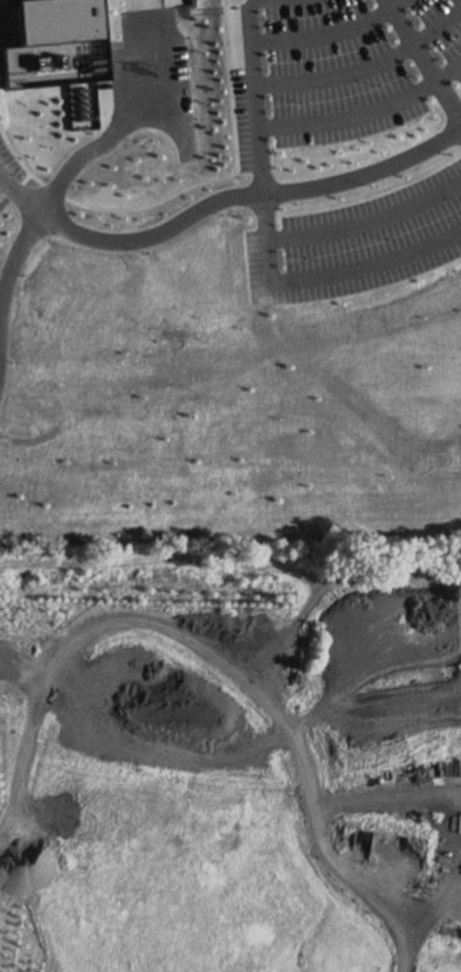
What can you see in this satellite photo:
building: (60, 51)
road: (419, 61)
road: (115, 128)
road: (17, 190)
road: (171, 224)
road: (263, 240)
road: (241, 677)
landfill: (230, 761)

